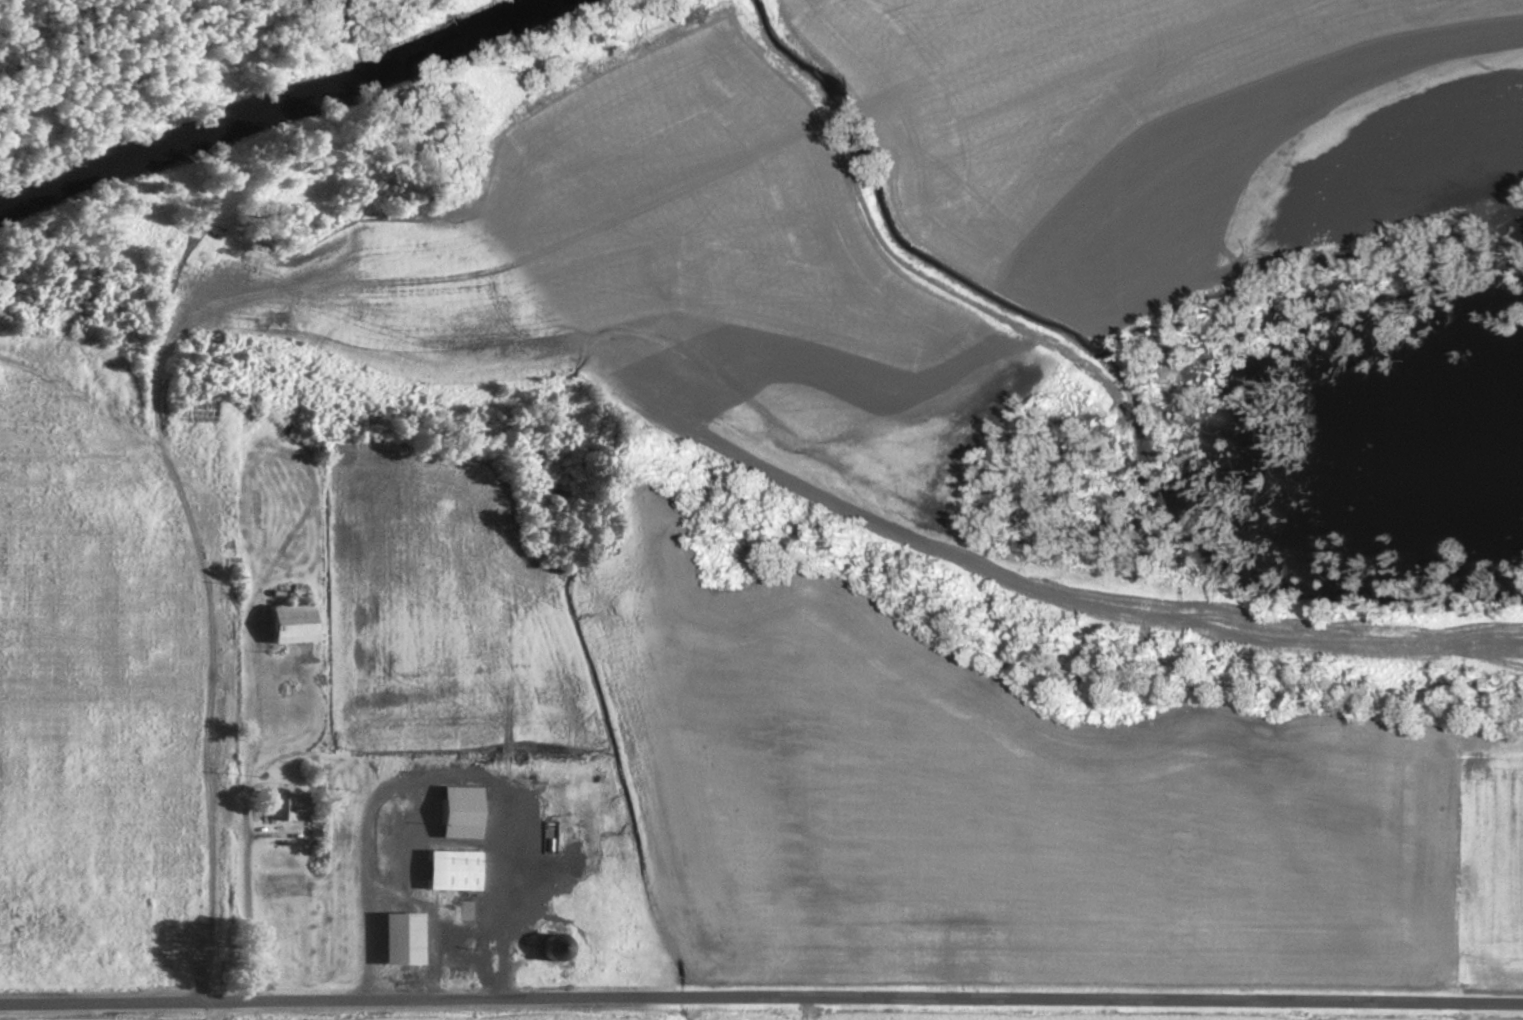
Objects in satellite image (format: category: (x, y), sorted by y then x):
building: (284, 625)
road: (230, 765)
building: (280, 807)
building: (456, 813)
building: (449, 872)
building: (397, 940)
road: (665, 1013)

